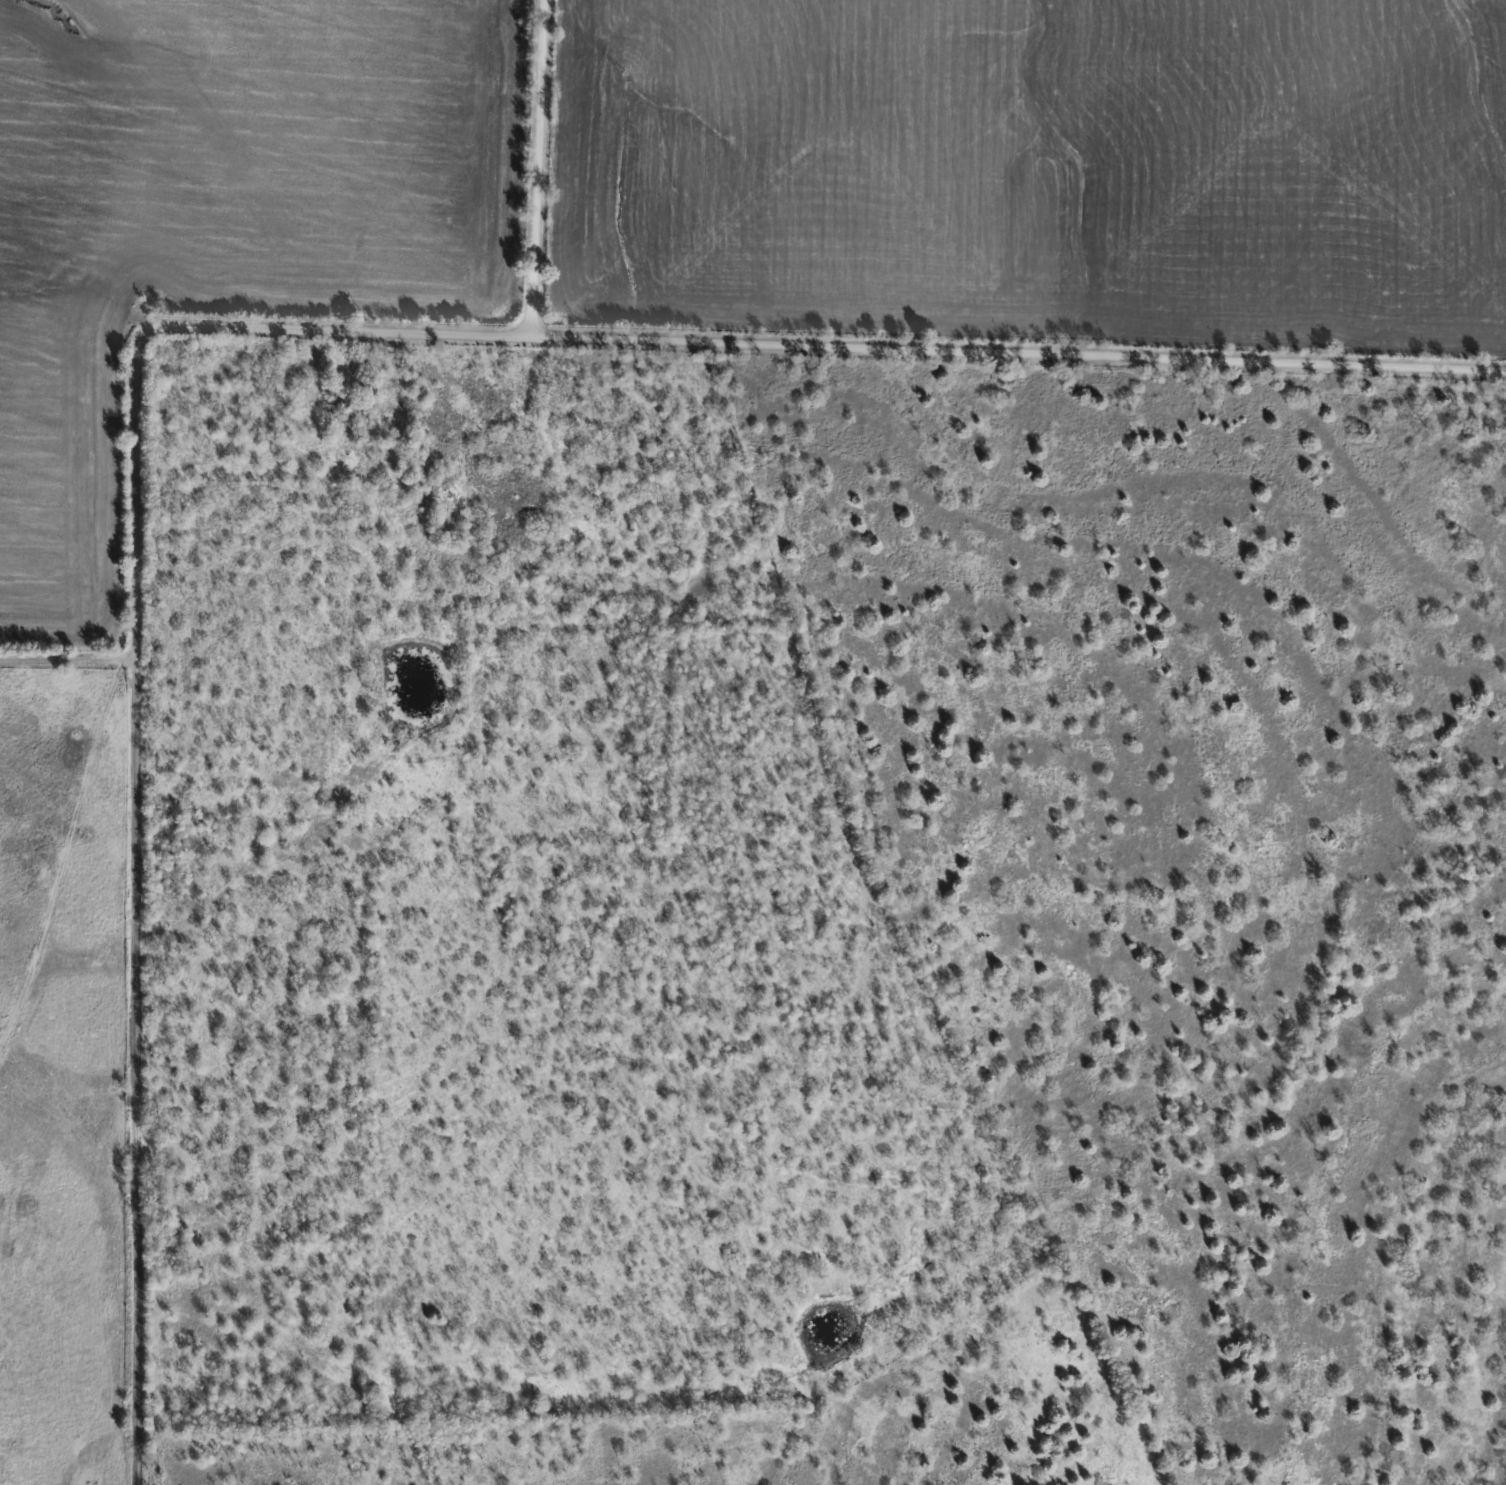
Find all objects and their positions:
road: (535, 169)
road: (660, 342)
road: (66, 657)
road: (133, 1071)

